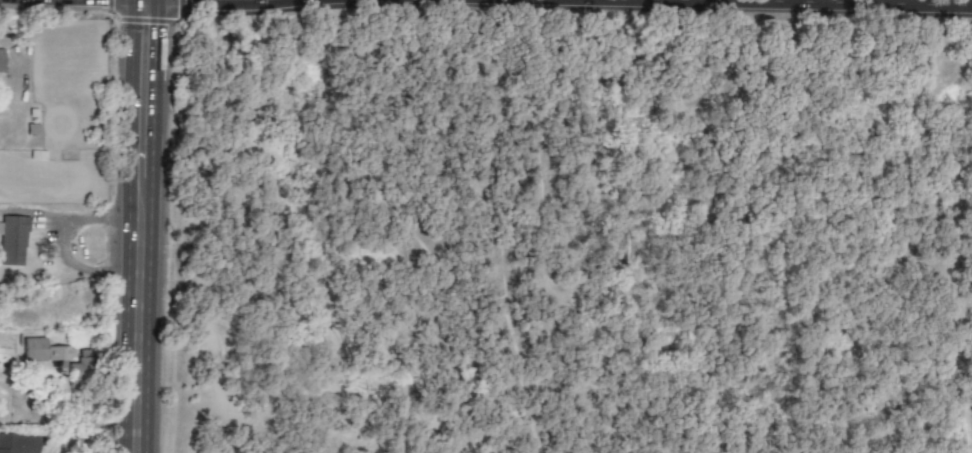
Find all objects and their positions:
road: (816, 3)
road: (910, 3)
road: (923, 3)
traffic signals: (157, 35)
building: (0, 60)
road: (130, 117)
road: (154, 118)
road: (75, 216)
building: (13, 240)
park: (571, 241)
road: (78, 267)
road: (137, 343)
building: (56, 356)
building: (18, 443)

